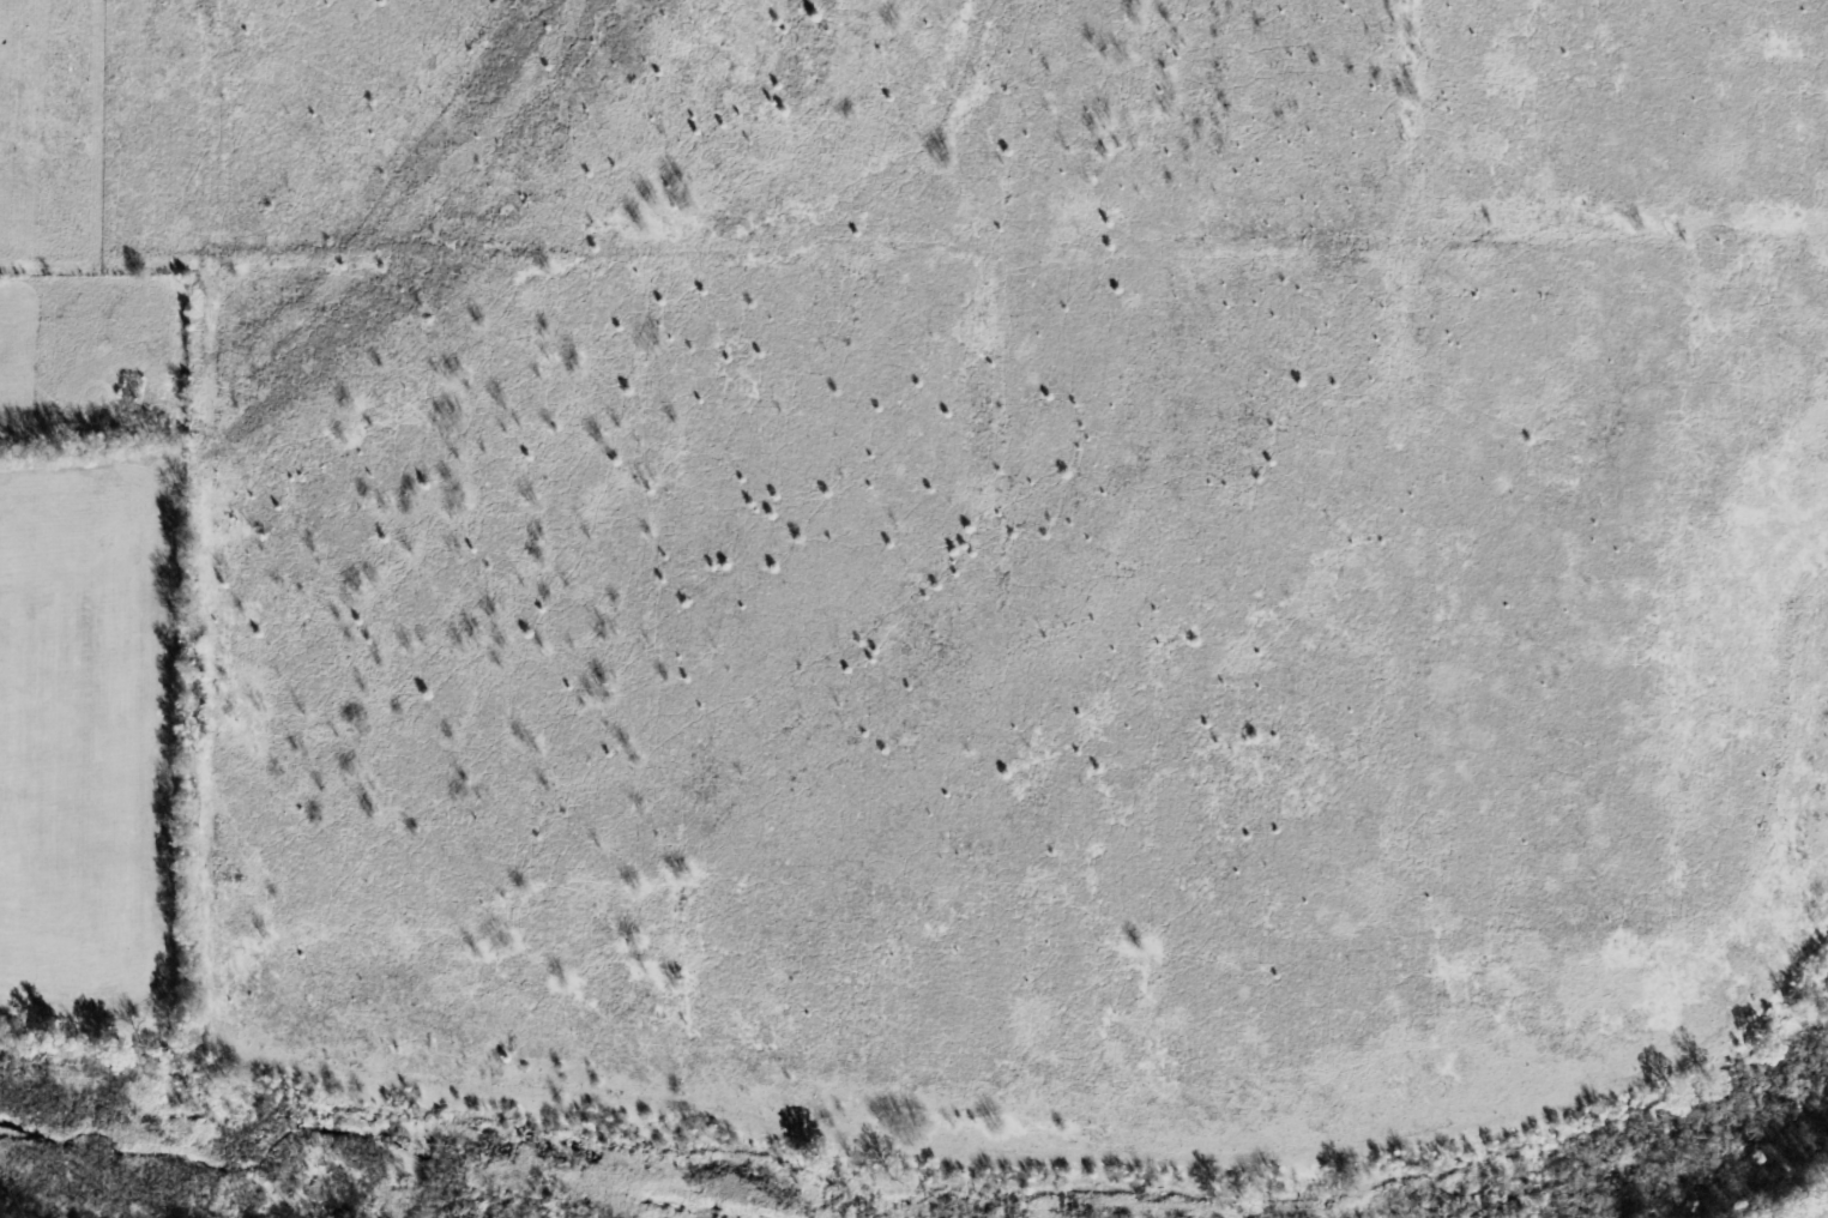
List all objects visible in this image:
road: (1800, 1200)

